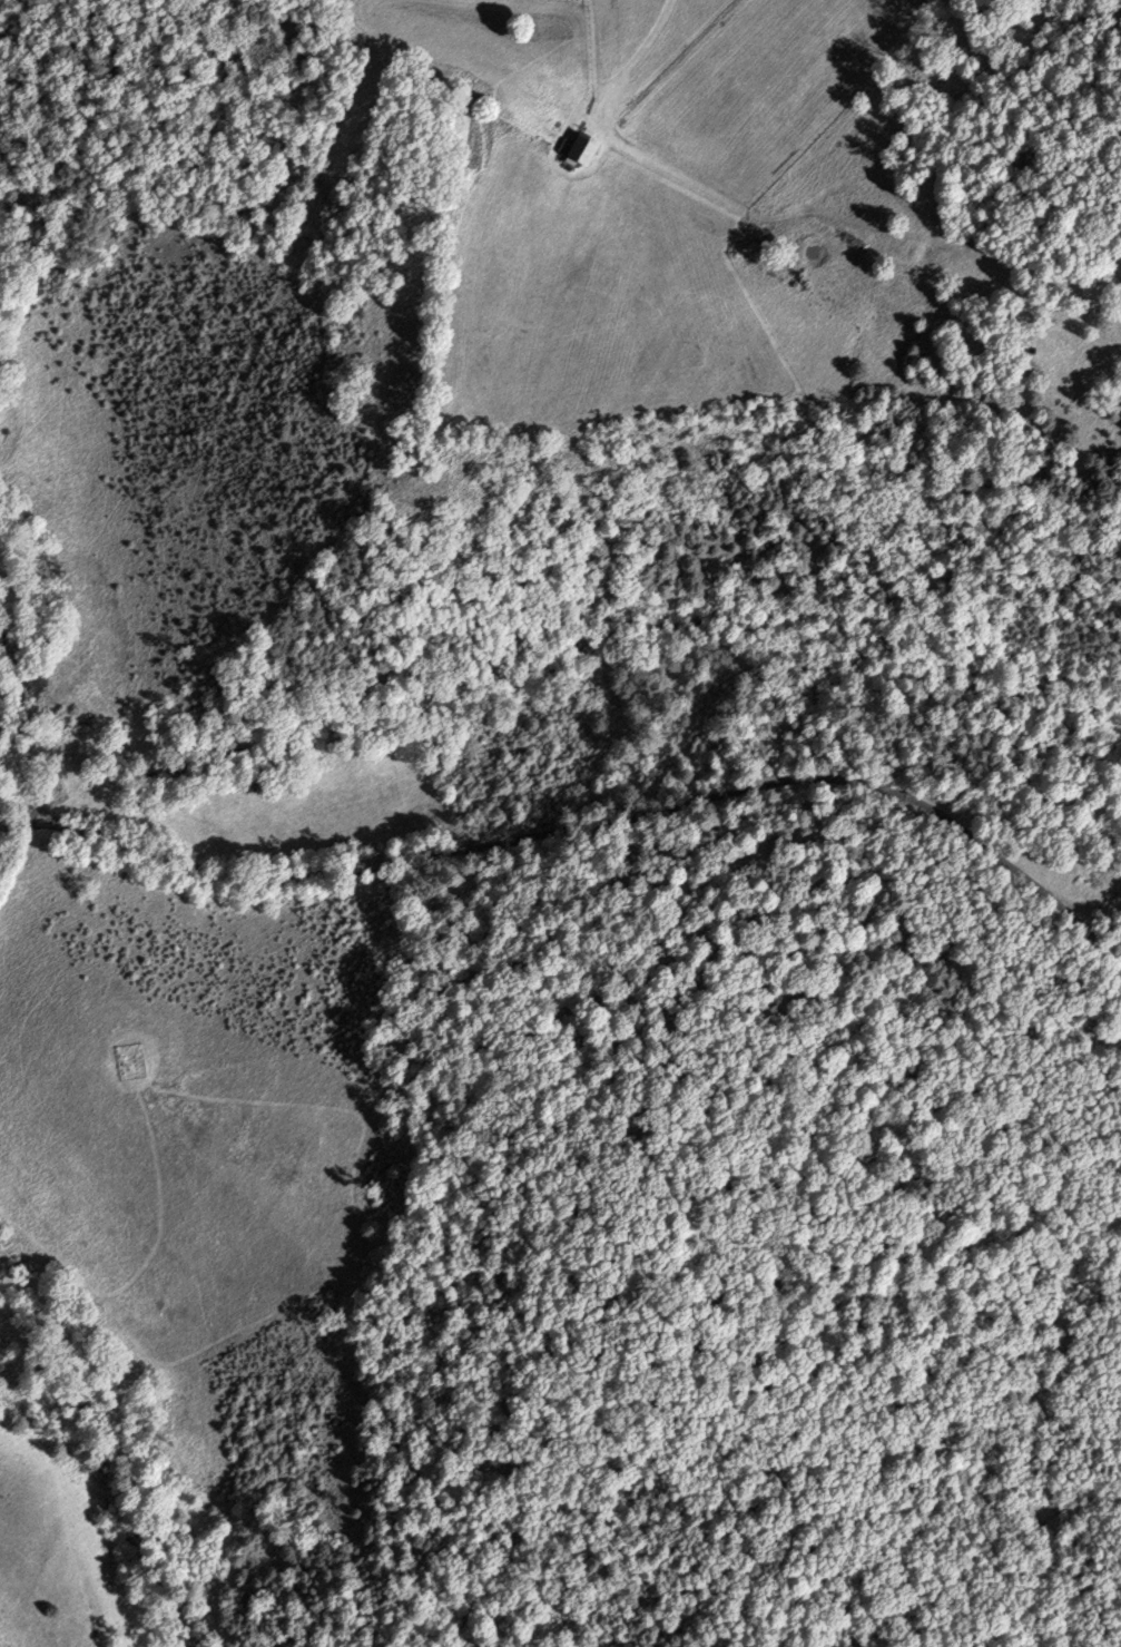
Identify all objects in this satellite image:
building: (579, 151)
road: (588, 827)
park: (132, 1062)

